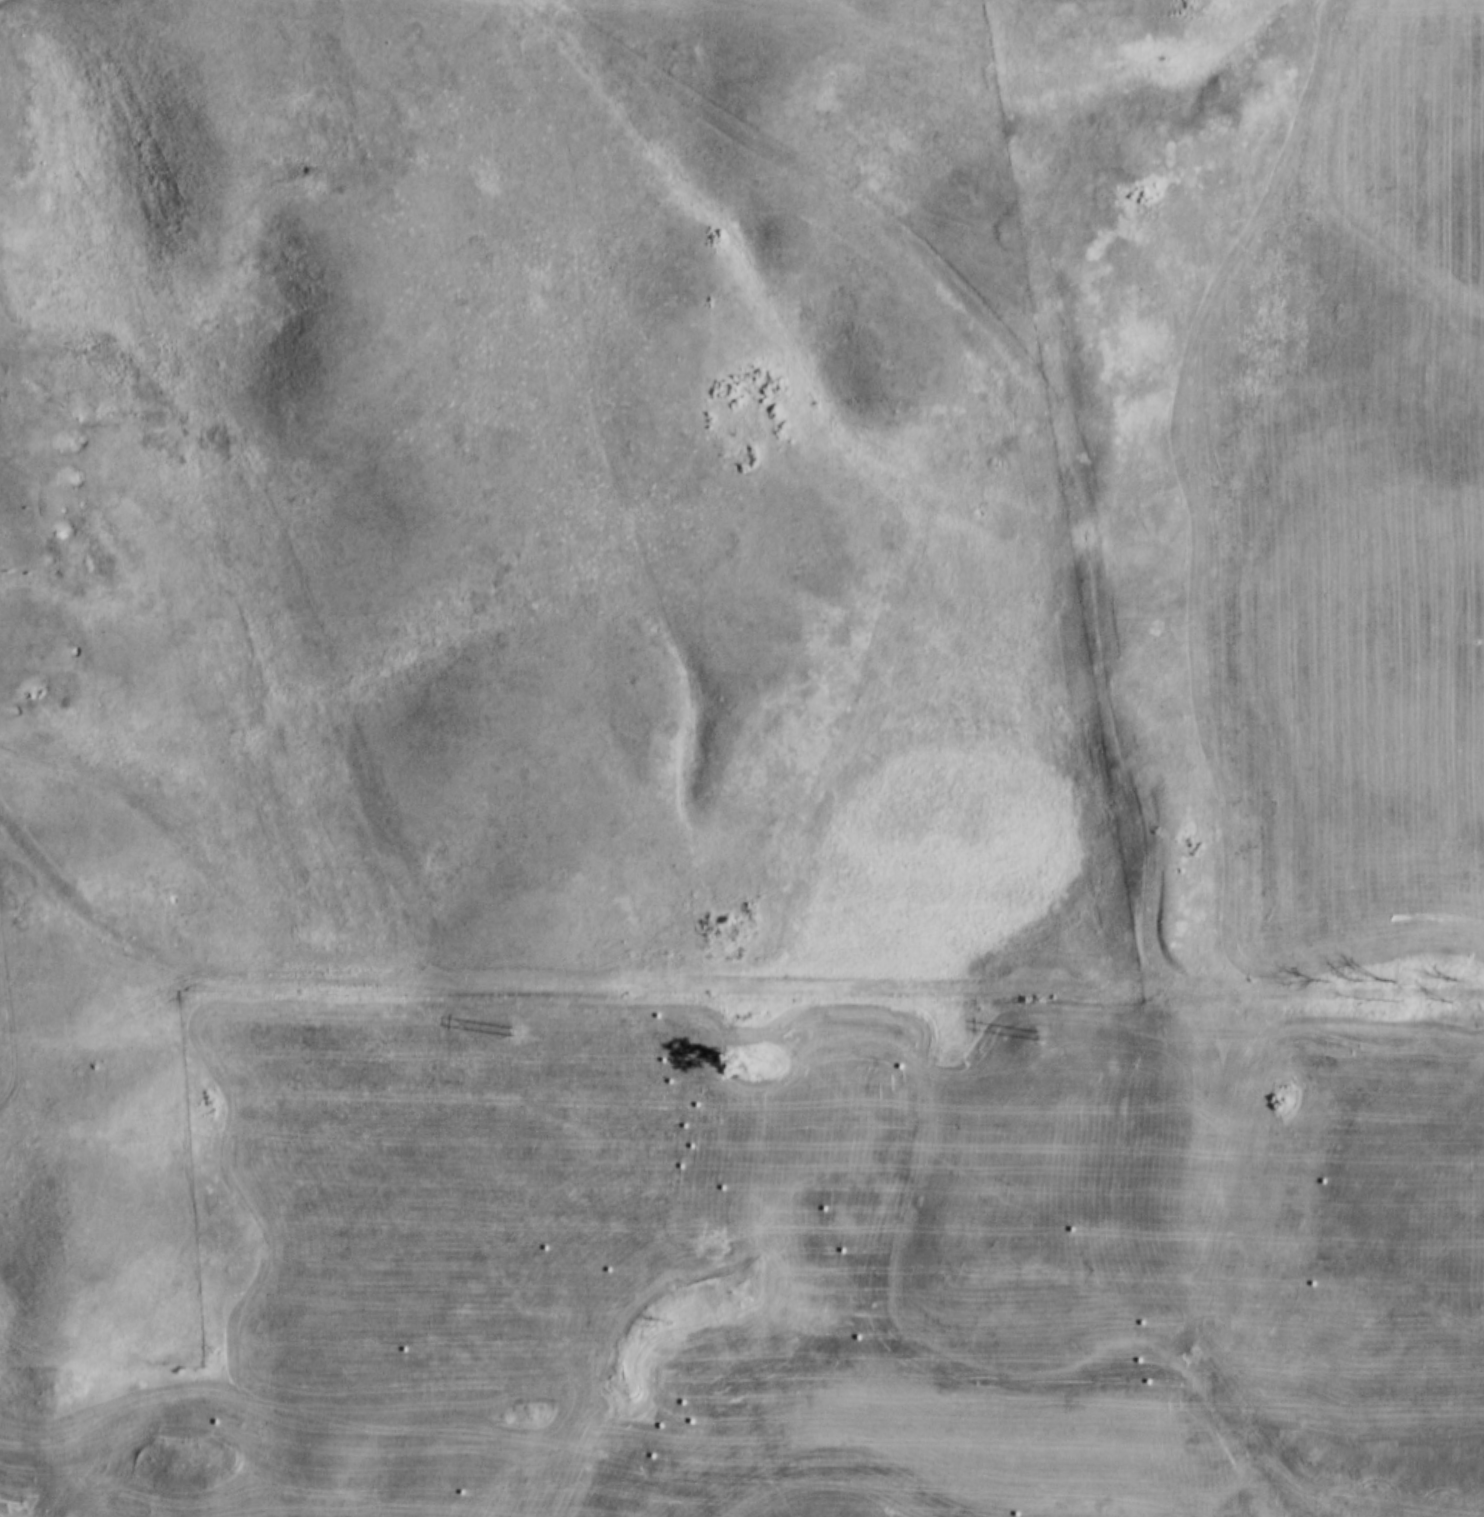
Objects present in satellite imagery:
road: (8, 1032)

